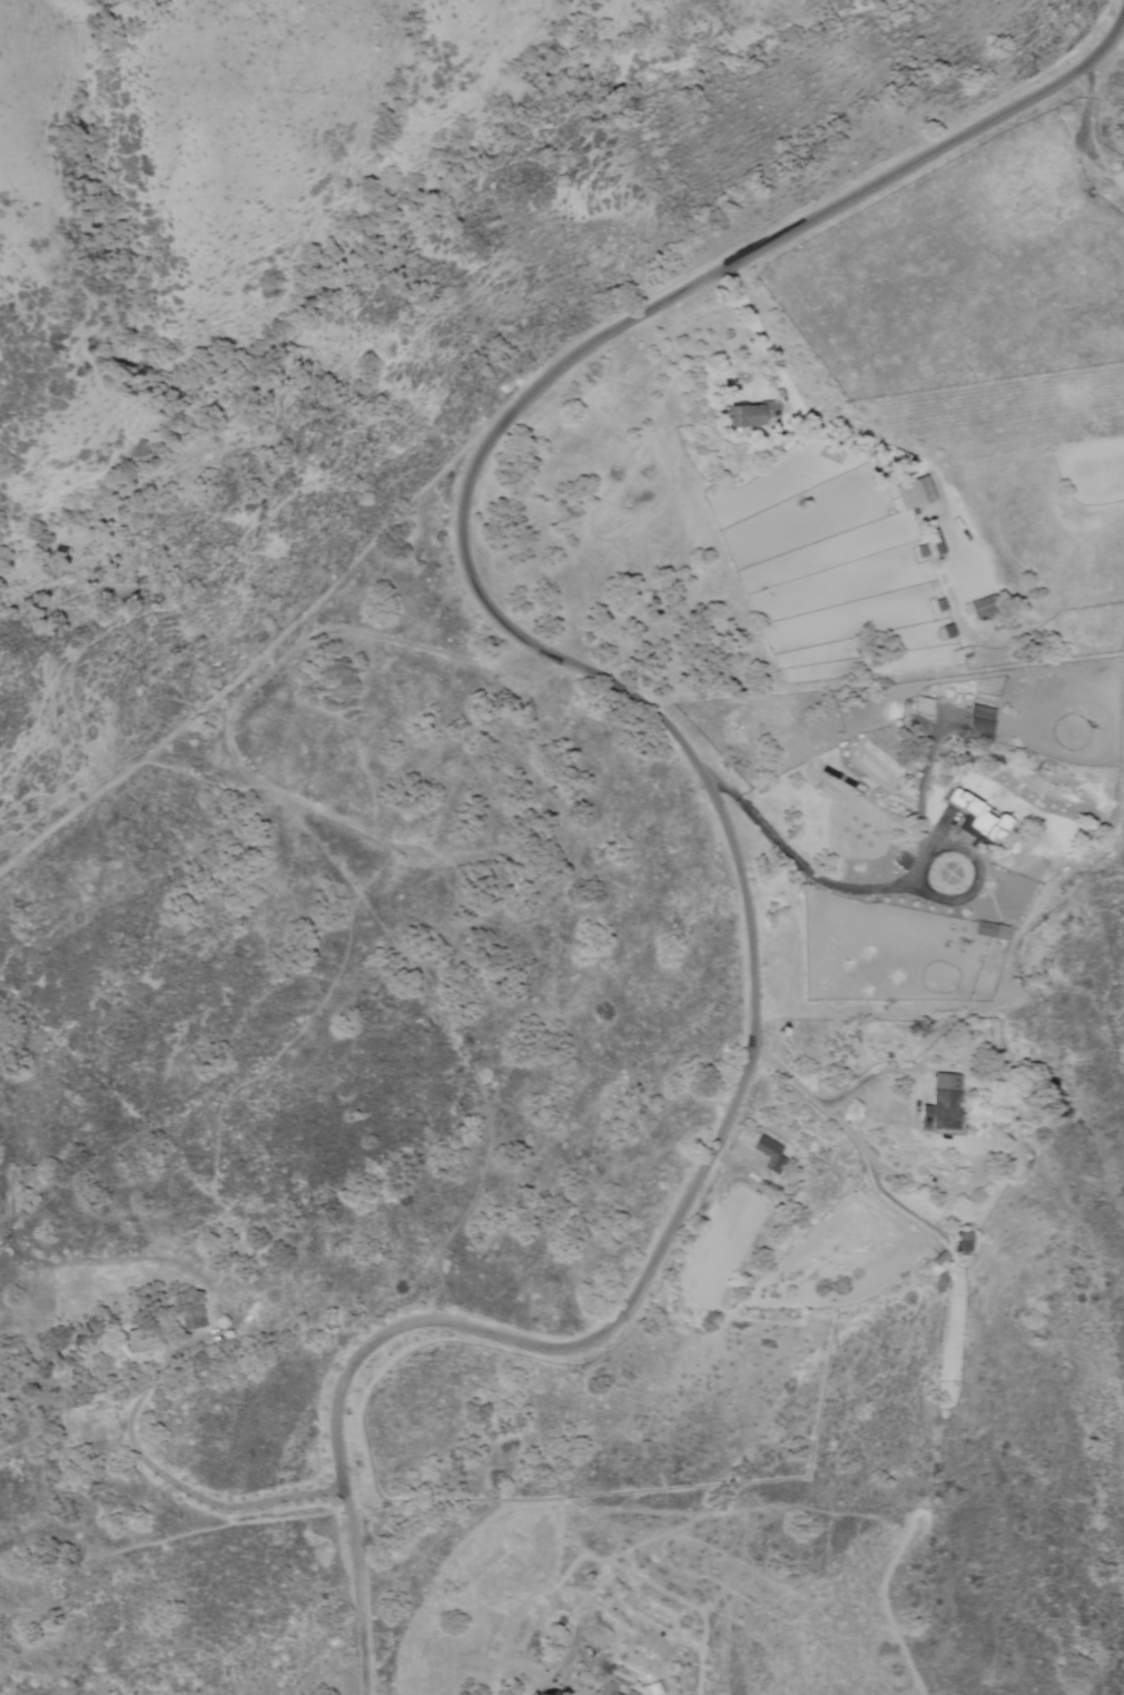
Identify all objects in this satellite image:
building: (766, 408)
building: (738, 415)
building: (910, 492)
building: (977, 607)
road: (638, 693)
building: (920, 706)
building: (975, 721)
building: (974, 814)
building: (988, 930)
building: (939, 1103)
building: (767, 1154)
building: (959, 1242)
building: (139, 1339)
road: (363, 1600)
building: (605, 1688)
building: (629, 1693)

